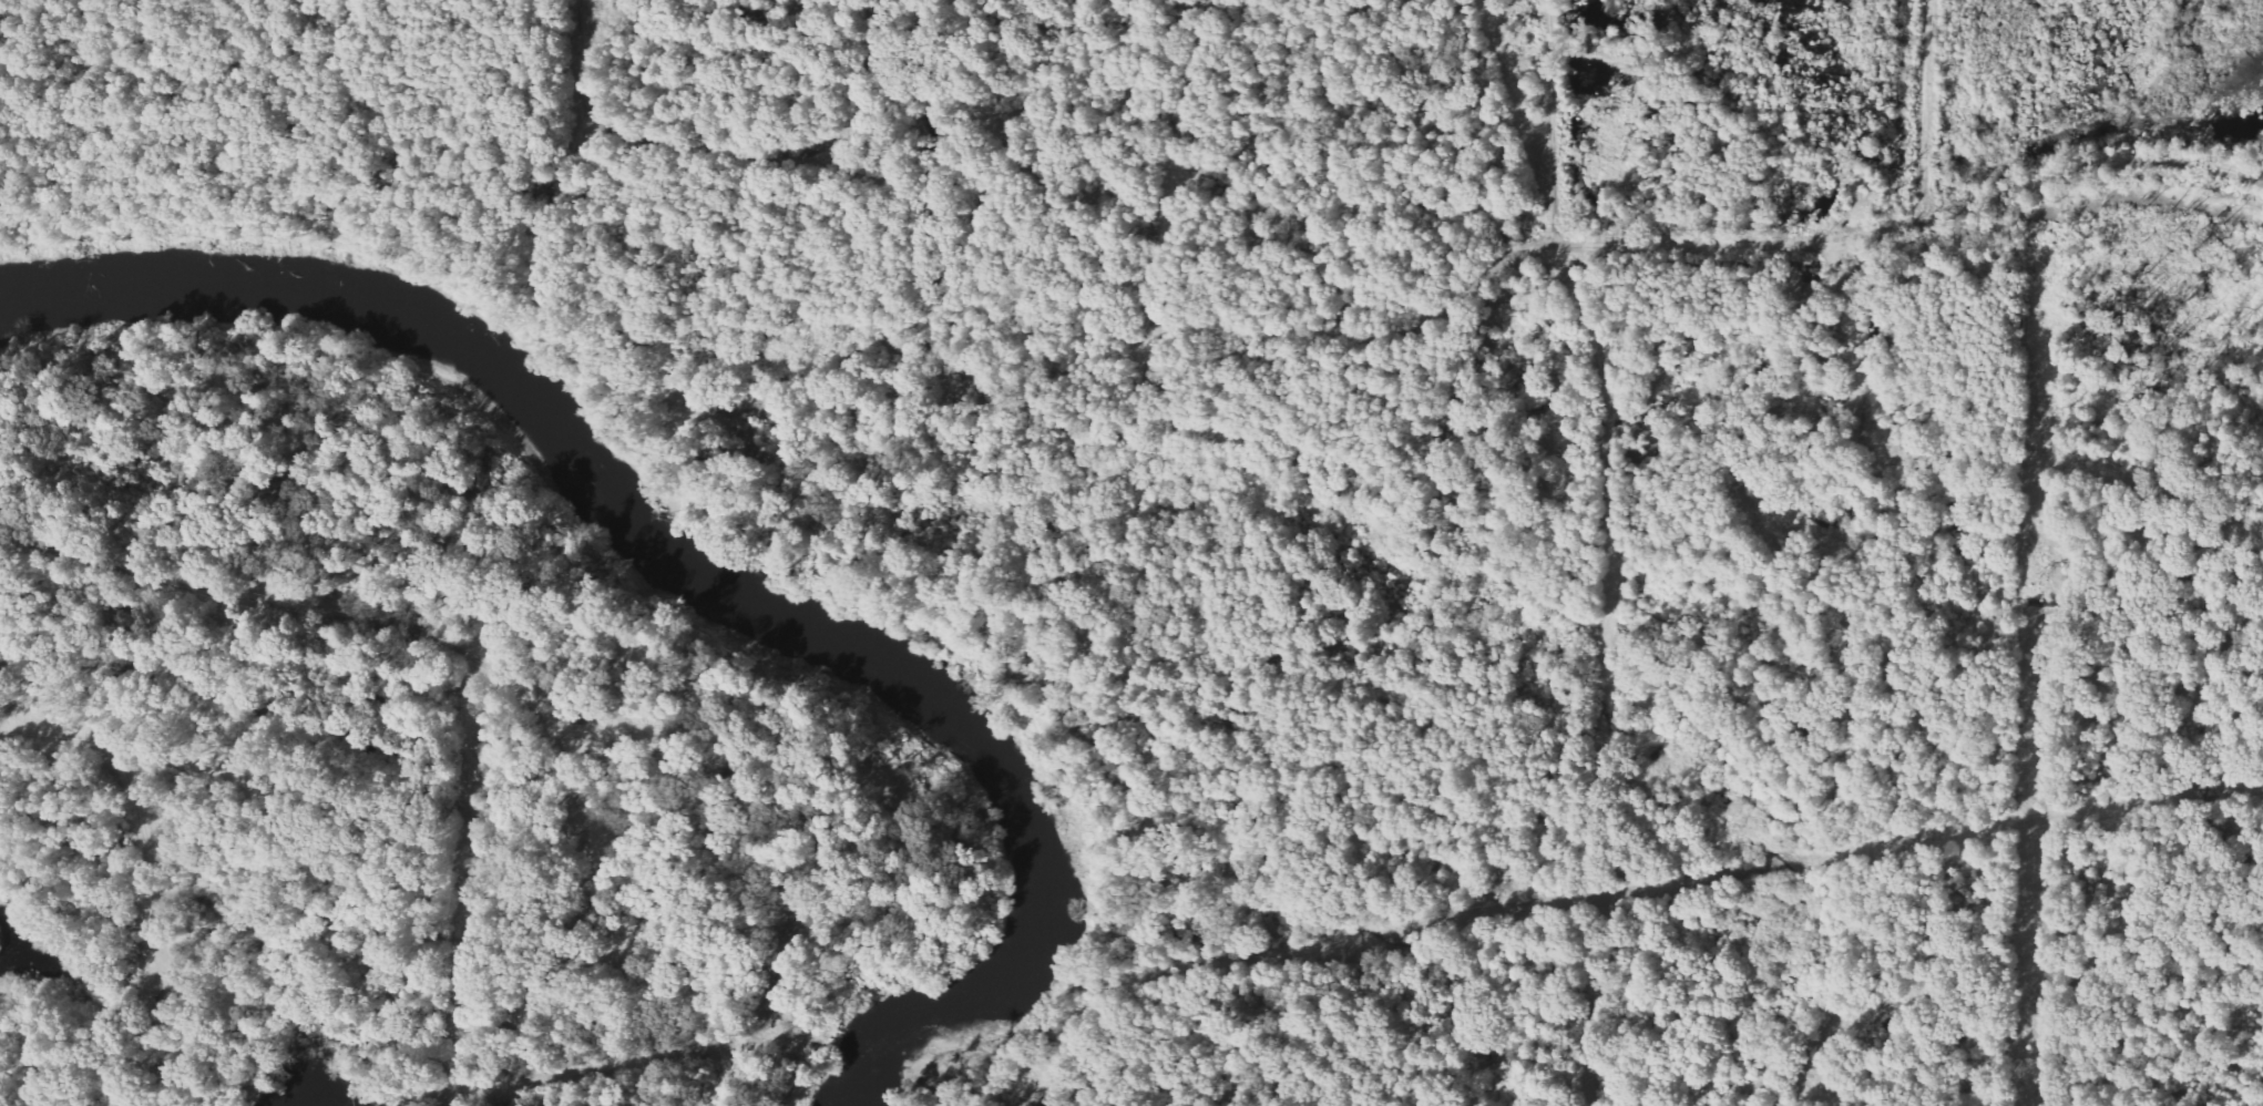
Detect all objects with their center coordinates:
road: (2095, 163)
river: (695, 569)
road: (1765, 677)
road: (611, 933)

